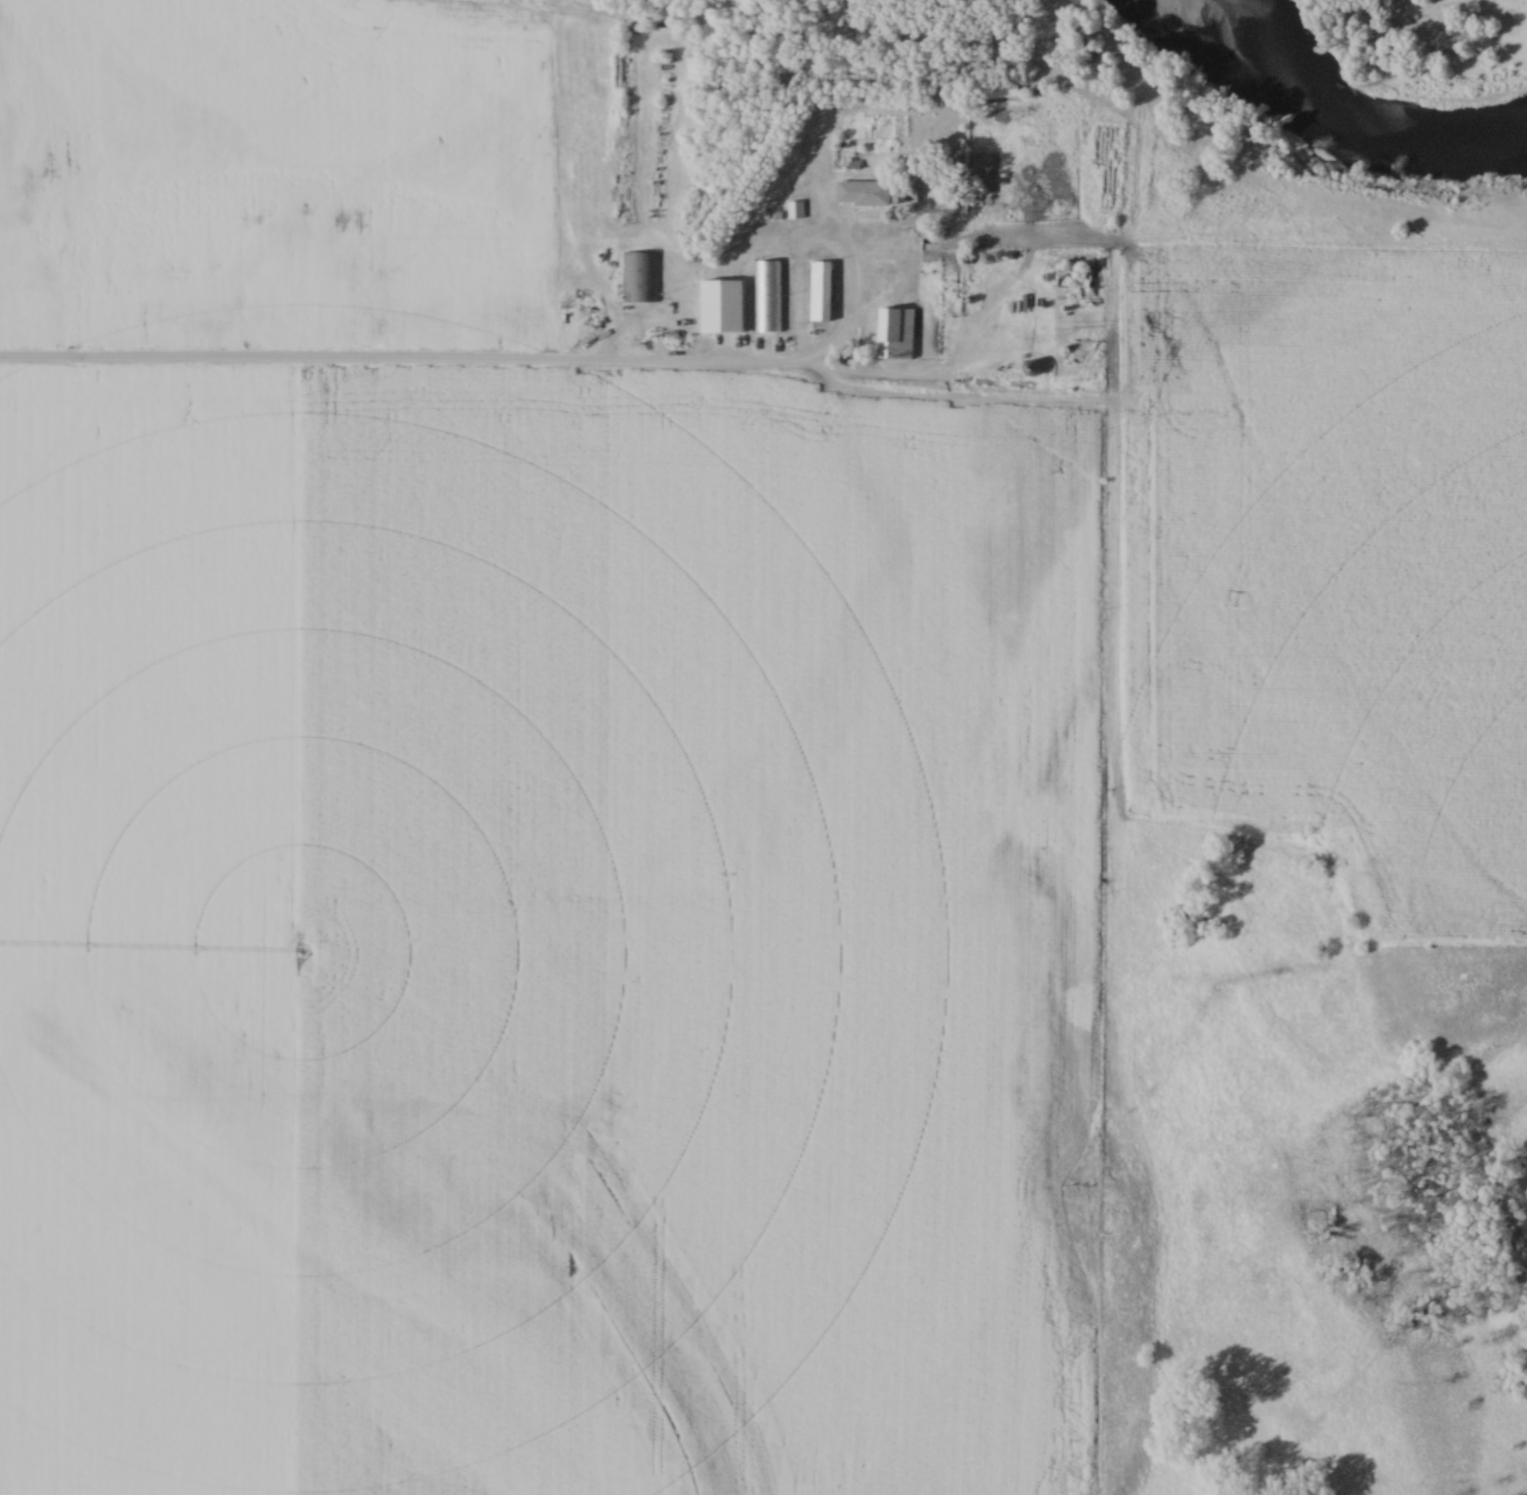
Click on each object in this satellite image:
building: (999, 91)
river: (1341, 112)
building: (862, 194)
building: (641, 278)
building: (1073, 279)
building: (819, 292)
building: (767, 298)
building: (721, 310)
building: (894, 334)
road: (485, 367)
building: (1031, 368)
road: (888, 383)

